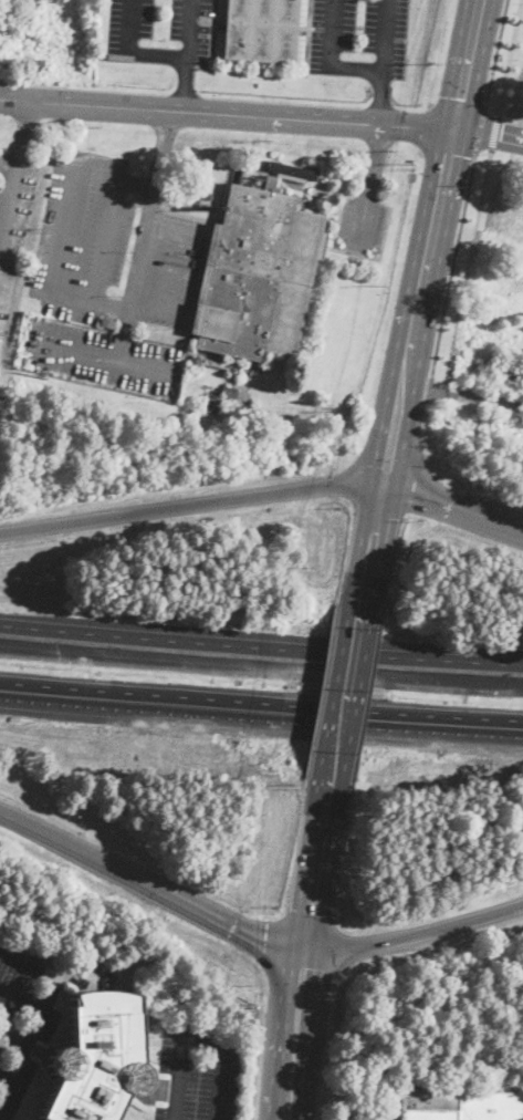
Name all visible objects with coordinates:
road: (187, 29)
parking lot: (160, 30)
building: (262, 31)
parking lot: (359, 37)
road: (496, 52)
road: (129, 53)
road: (510, 59)
street lamp: (517, 59)
road: (330, 60)
road: (383, 62)
road: (453, 65)
road: (478, 69)
road: (184, 84)
traffic signals: (448, 100)
road: (459, 105)
street lamp: (506, 110)
road: (226, 114)
traffic signals: (422, 127)
road: (427, 127)
road: (480, 128)
road: (494, 133)
road: (487, 134)
traffic signals: (502, 135)
road: (449, 148)
traffic signals: (448, 152)
road: (8, 165)
road: (15, 165)
building: (291, 172)
road: (369, 187)
parking lot: (14, 207)
road: (104, 240)
parking lot: (114, 246)
park: (491, 268)
road: (466, 269)
road: (451, 270)
building: (258, 274)
road: (85, 300)
road: (418, 309)
building: (107, 323)
road: (123, 338)
parking lot: (104, 356)
building: (25, 360)
building: (196, 360)
road: (97, 362)
building: (234, 369)
road: (426, 387)
building: (230, 391)
road: (485, 397)
traffic signals: (388, 467)
traffic signals: (411, 489)
road: (191, 502)
road: (454, 505)
road: (375, 530)
traffic signals: (376, 530)
road: (261, 651)
road: (347, 685)
road: (261, 713)
road: (316, 872)
road: (151, 884)
traffic signals: (311, 911)
road: (415, 934)
traffic signals: (265, 940)
traffic signals: (303, 967)
road: (21, 1005)
parking lot: (29, 1006)
road: (43, 1012)
road: (294, 1034)
road: (193, 1038)
building: (97, 1059)
parking lot: (198, 1070)
road: (7, 1077)
building: (460, 1105)

